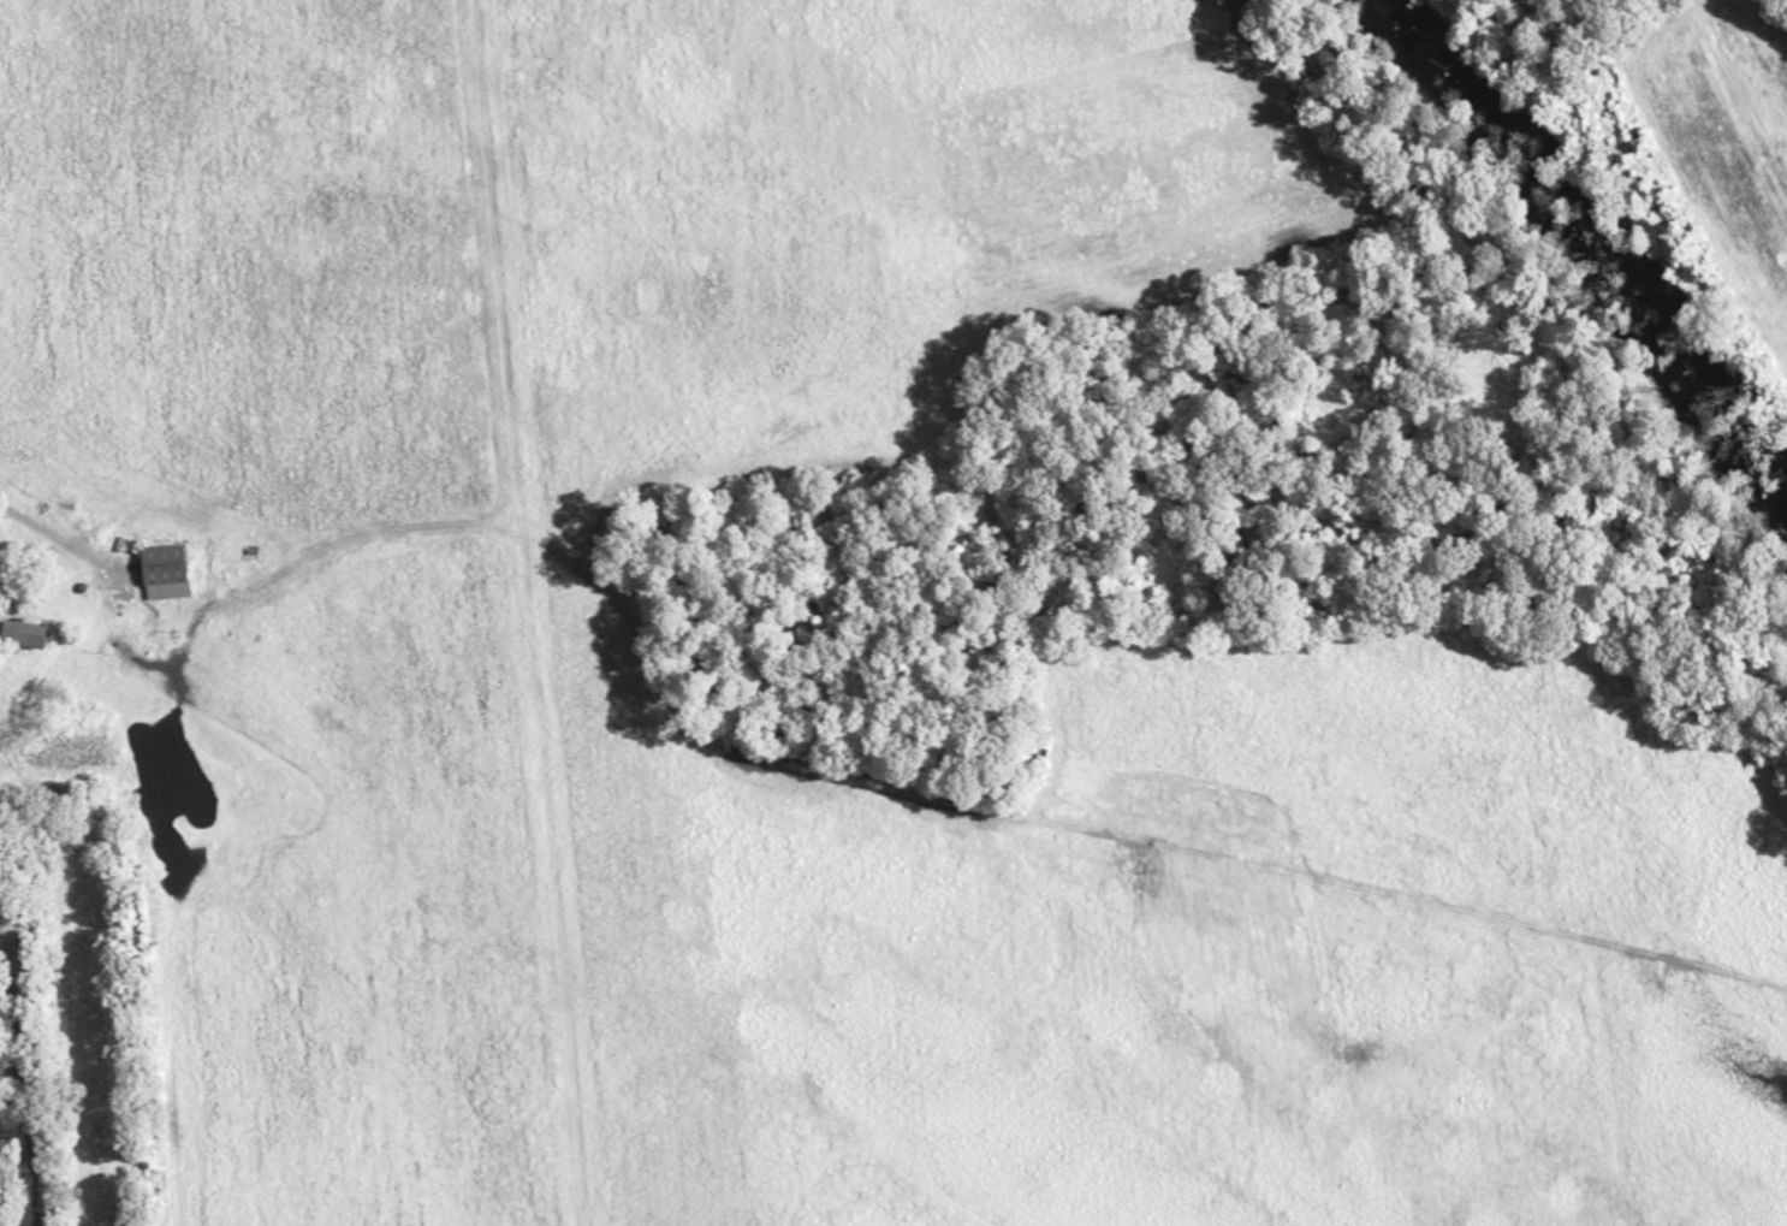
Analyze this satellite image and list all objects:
crop: (1729, 130)
building: (168, 571)
building: (81, 575)
crop: (456, 599)
road: (247, 602)
building: (31, 634)
road: (30, 1054)

